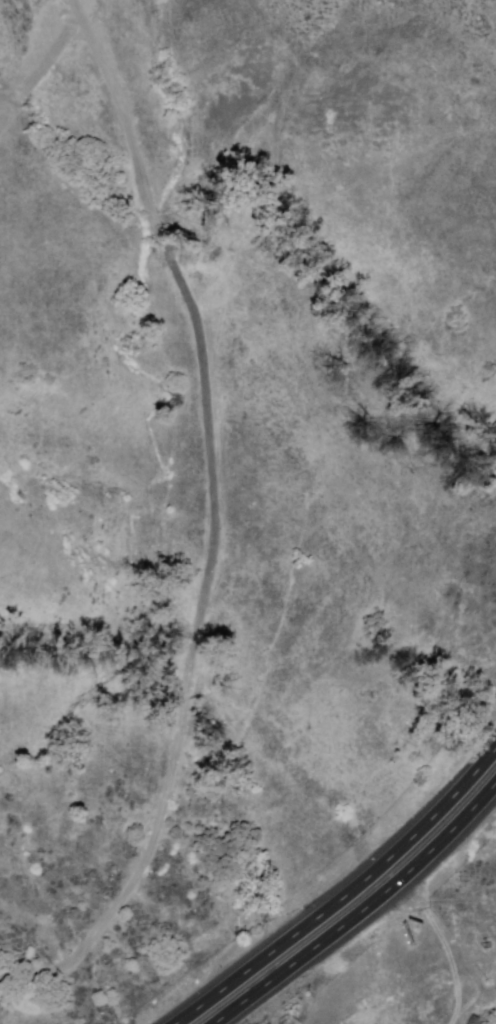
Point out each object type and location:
road: (212, 520)
road: (347, 898)
road: (363, 913)
building: (474, 1021)

